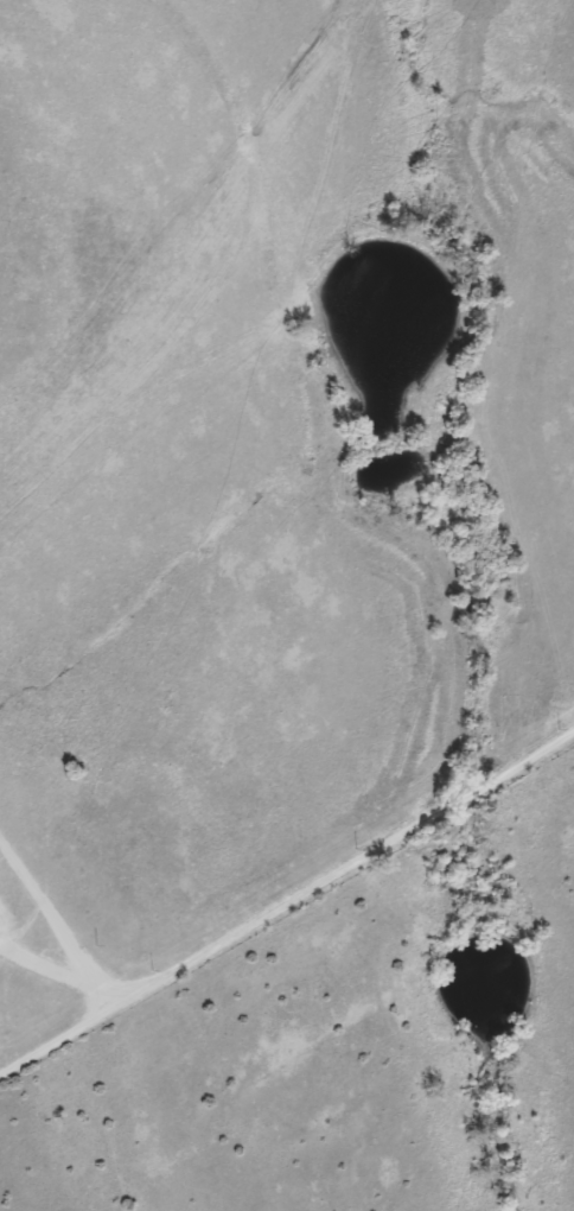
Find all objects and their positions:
road: (287, 899)
road: (55, 922)

